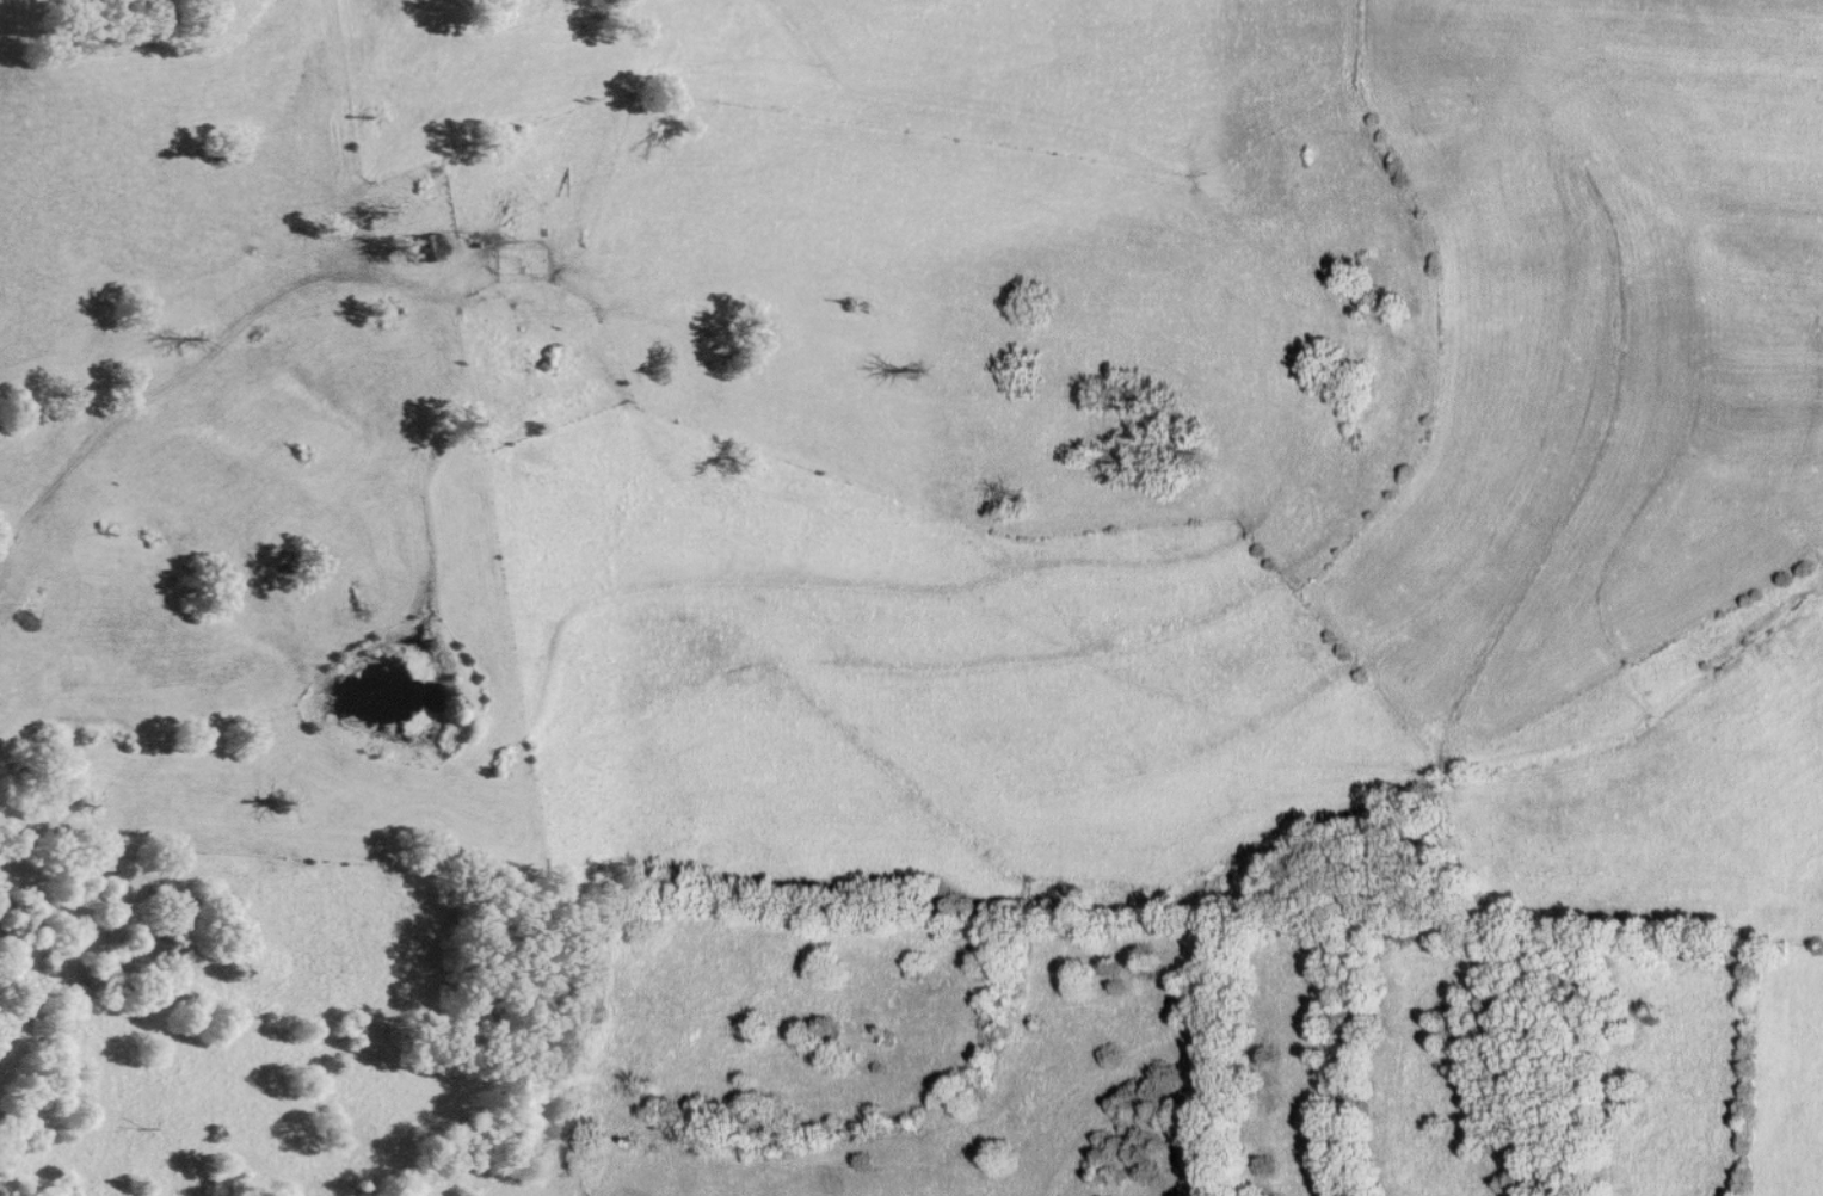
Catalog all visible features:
building: (430, 248)
road: (222, 341)

